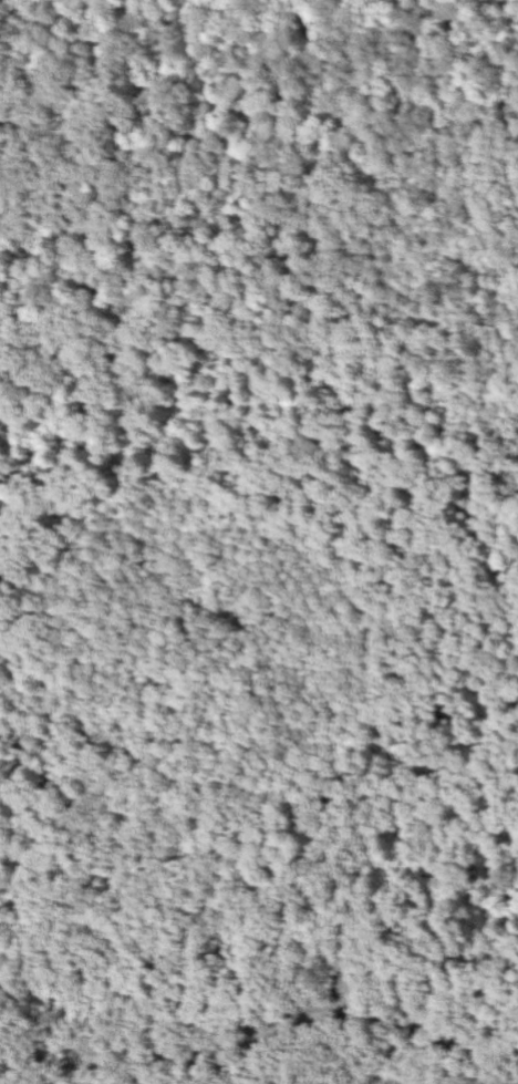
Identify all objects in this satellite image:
road: (259, 1033)

